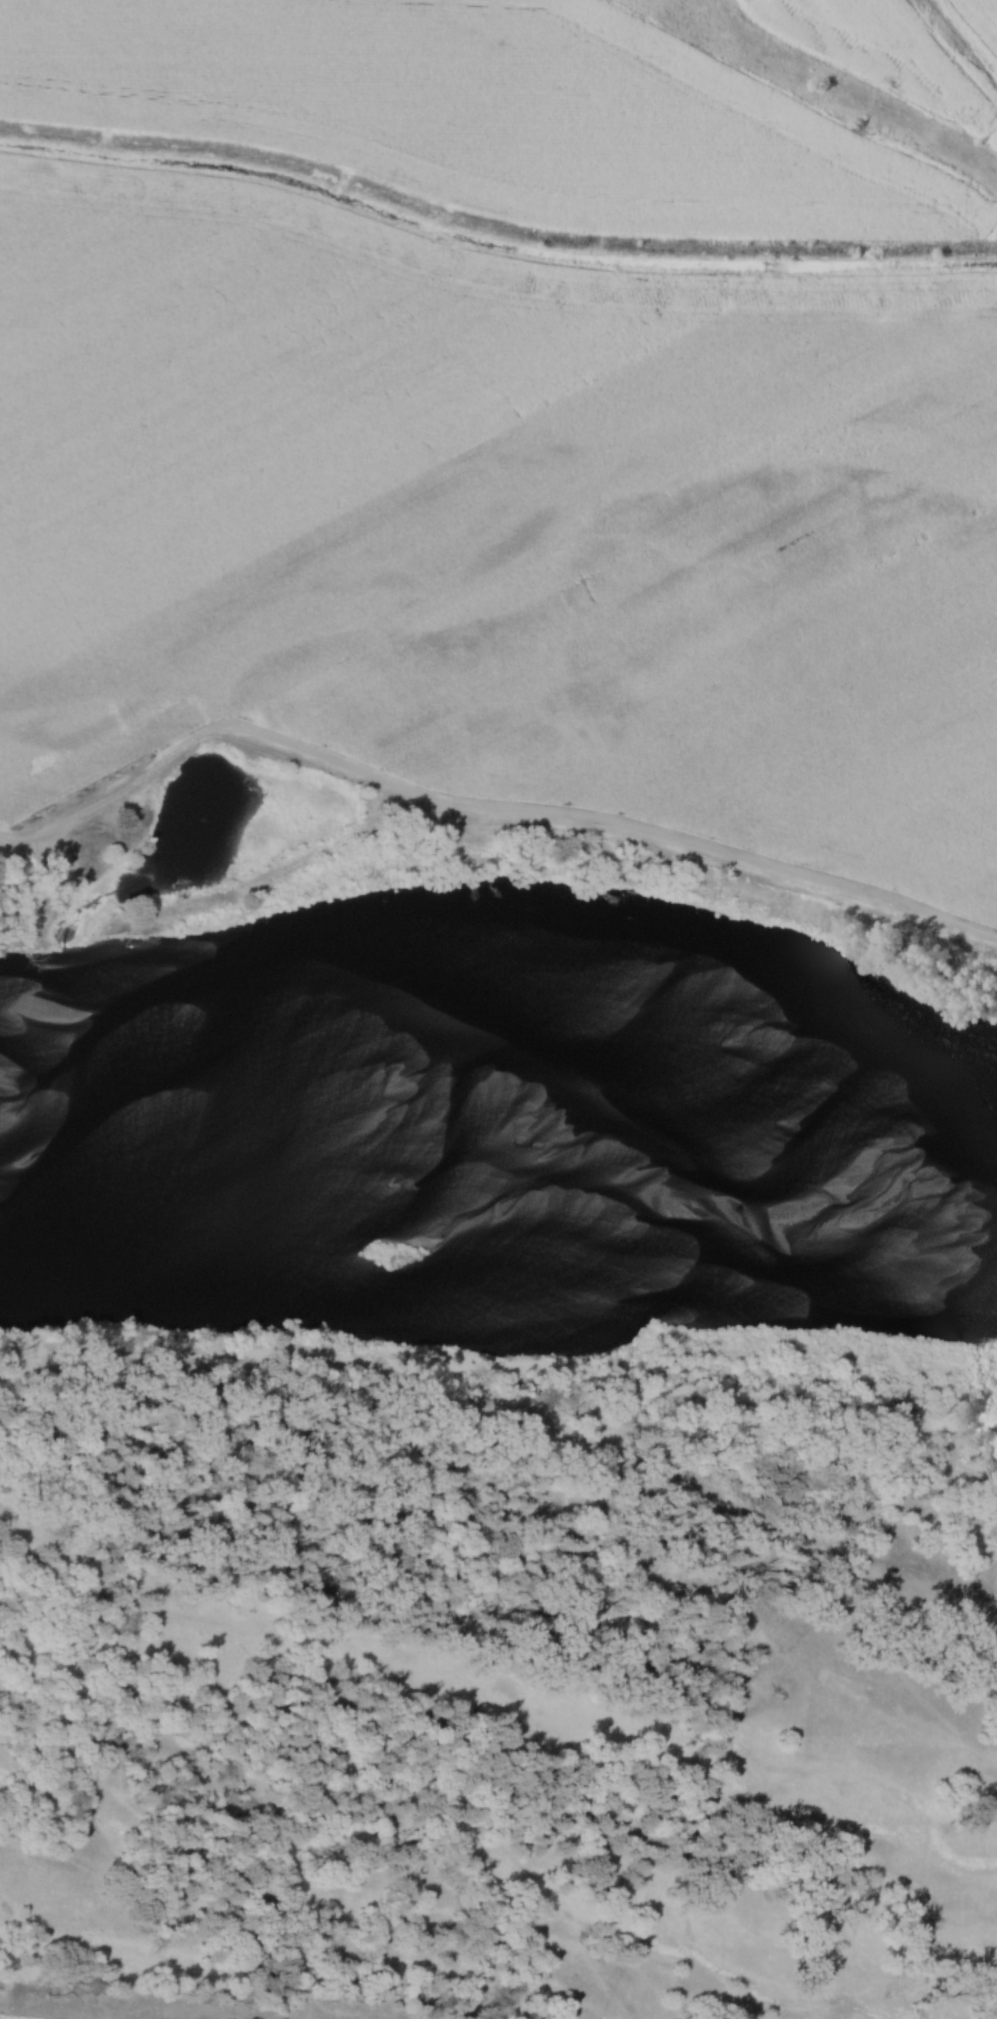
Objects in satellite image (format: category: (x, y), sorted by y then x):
river: (496, 1031)

